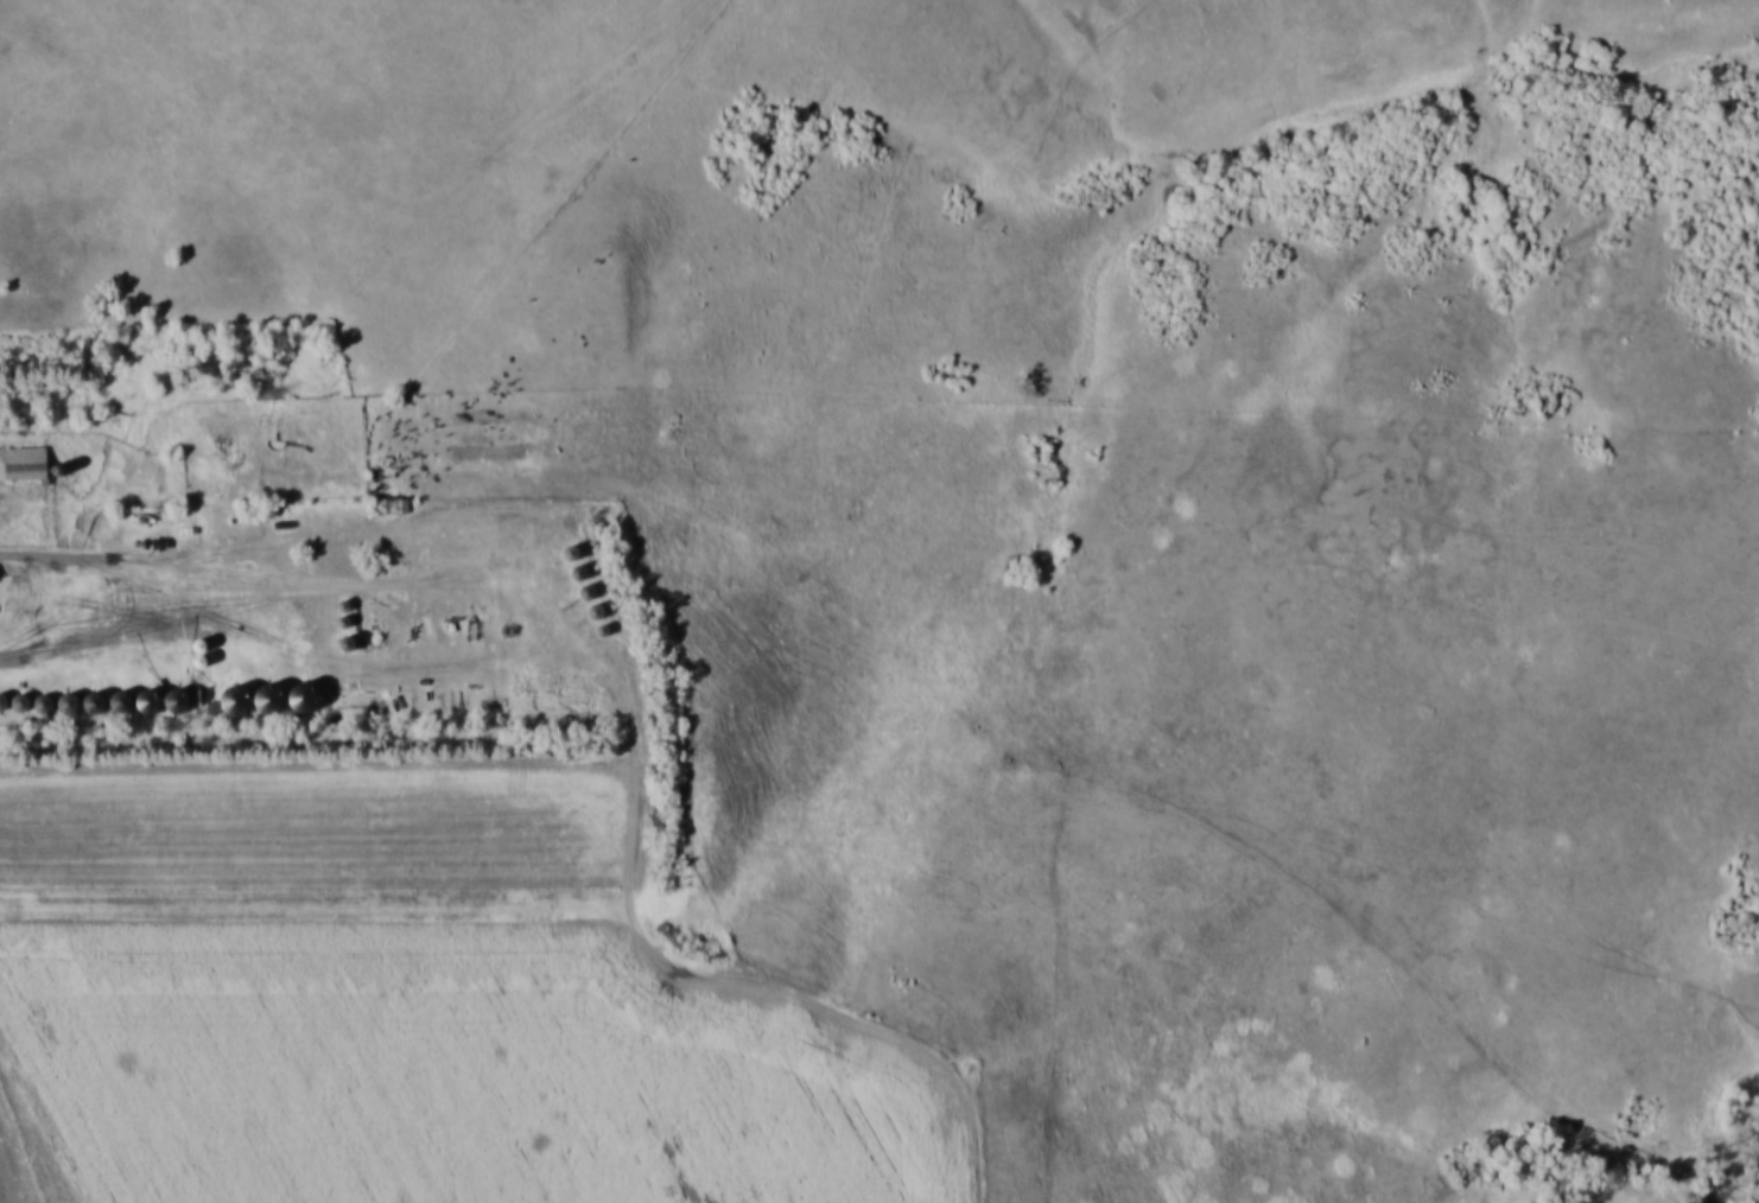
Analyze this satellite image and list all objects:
building: (26, 463)
road: (310, 543)
building: (241, 701)

